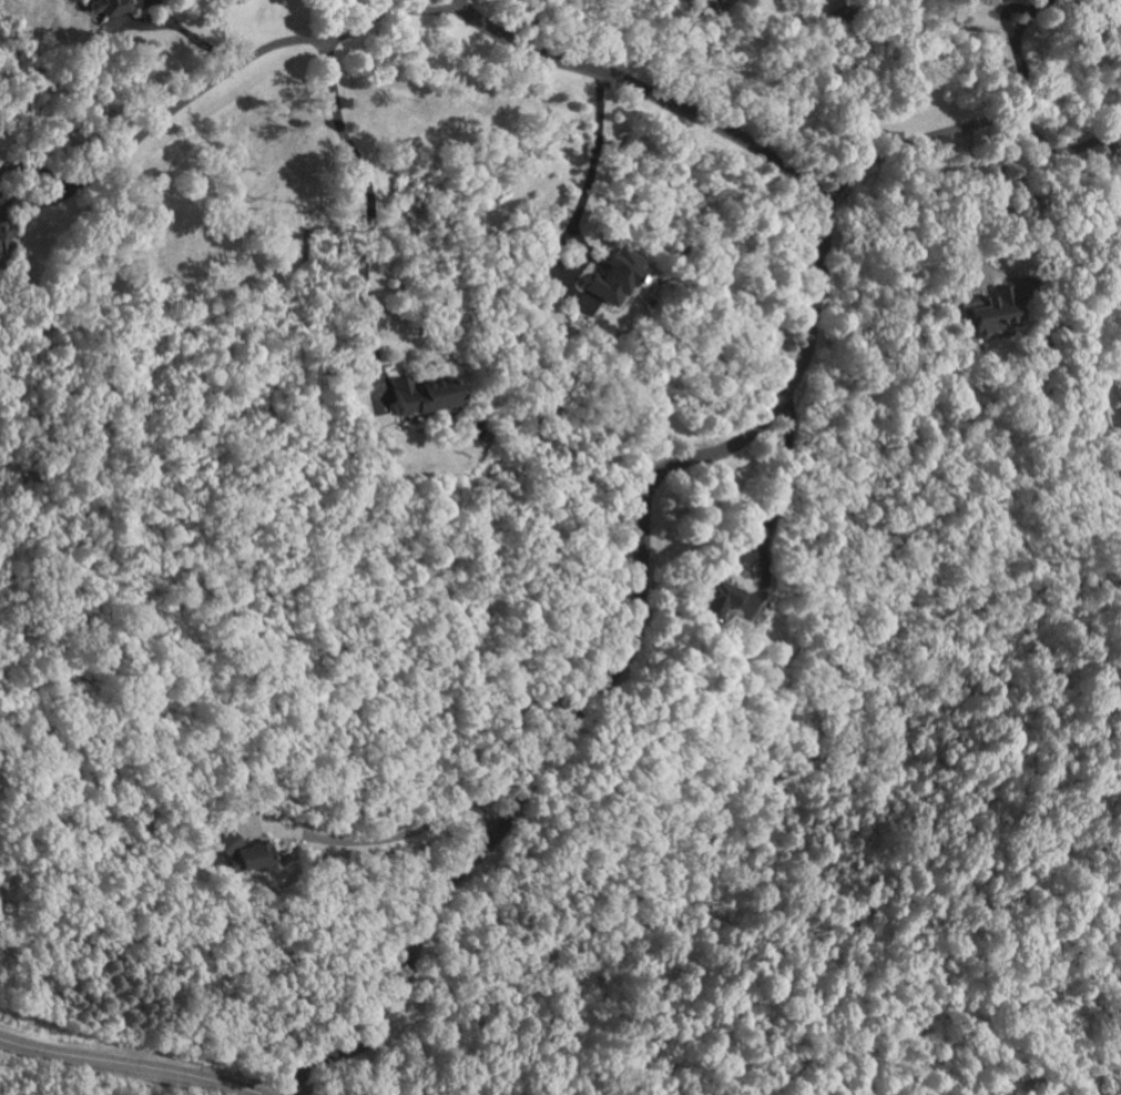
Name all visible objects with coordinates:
road: (523, 24)
road: (190, 34)
road: (1008, 34)
road: (237, 61)
road: (965, 126)
road: (1112, 136)
road: (590, 163)
road: (366, 199)
road: (957, 205)
building: (6, 234)
building: (613, 277)
building: (997, 311)
building: (1120, 386)
building: (424, 392)
road: (665, 469)
road: (772, 500)
building: (714, 599)
road: (388, 835)
building: (241, 853)
road: (130, 1065)

